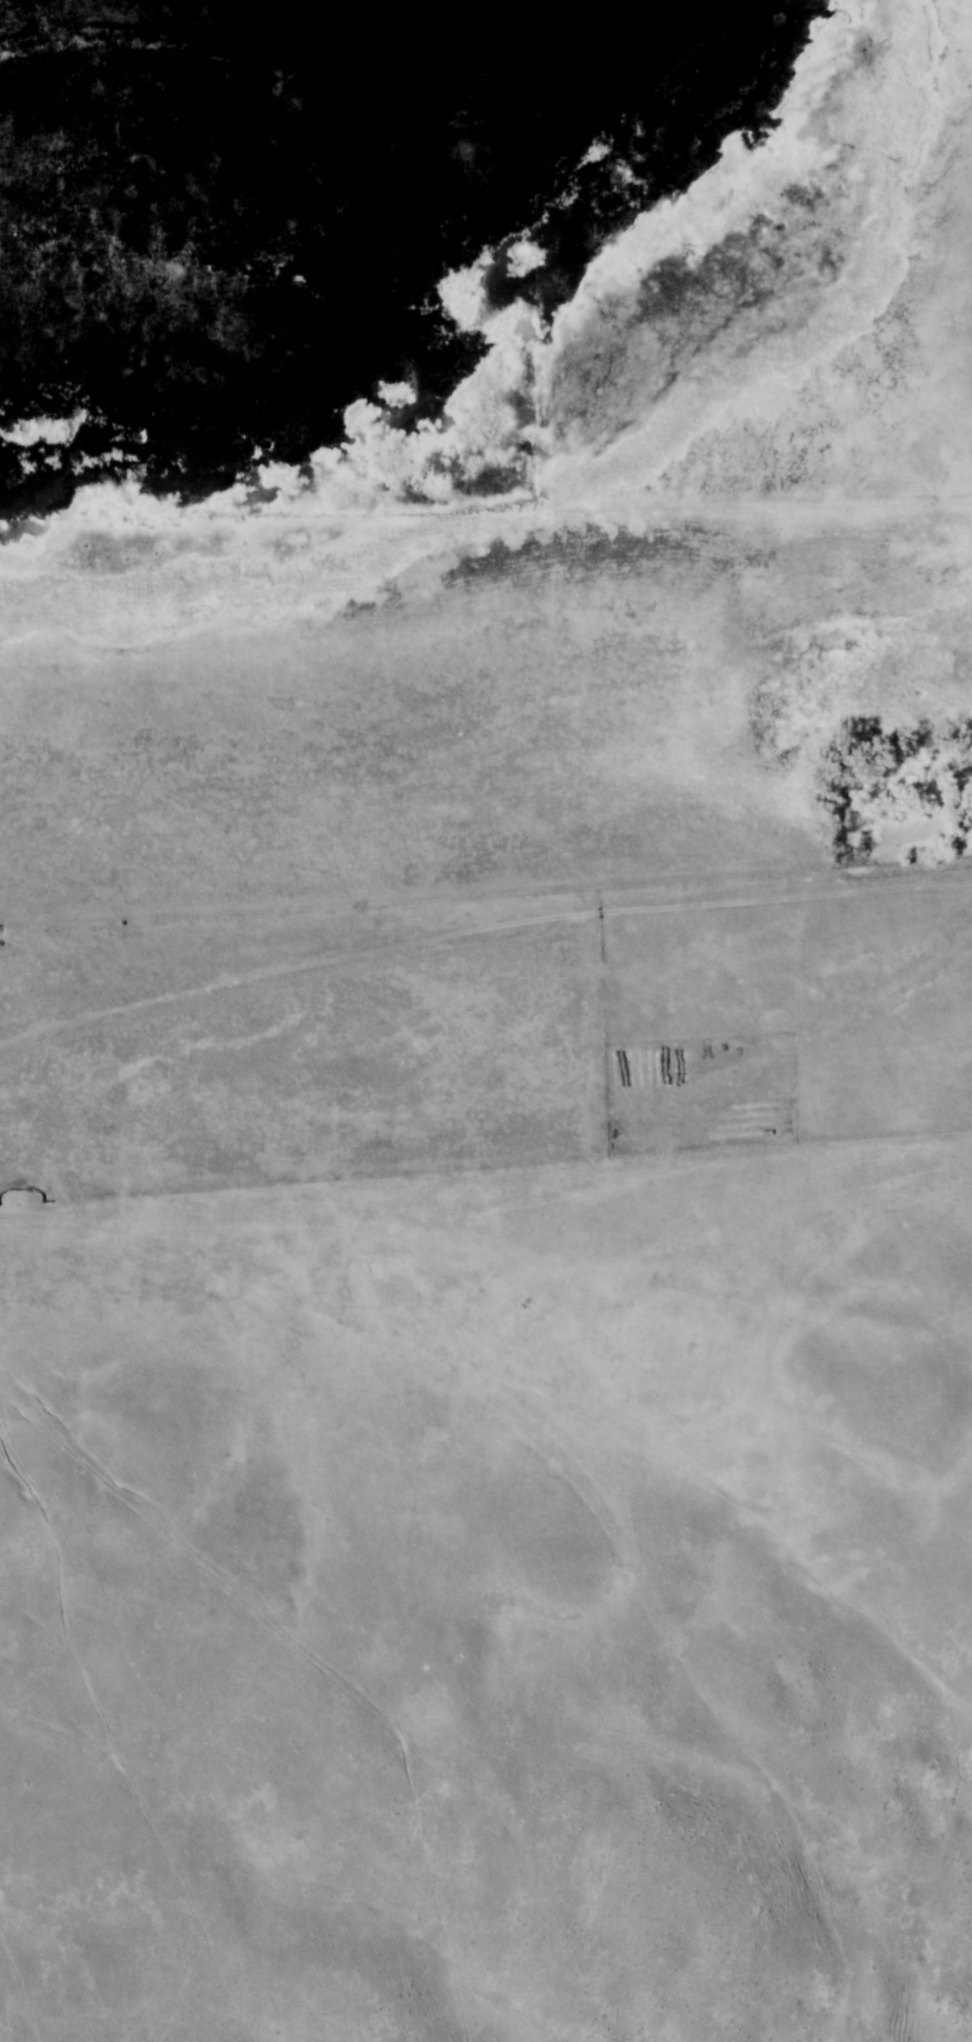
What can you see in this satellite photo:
building: (961, 819)
road: (479, 938)

